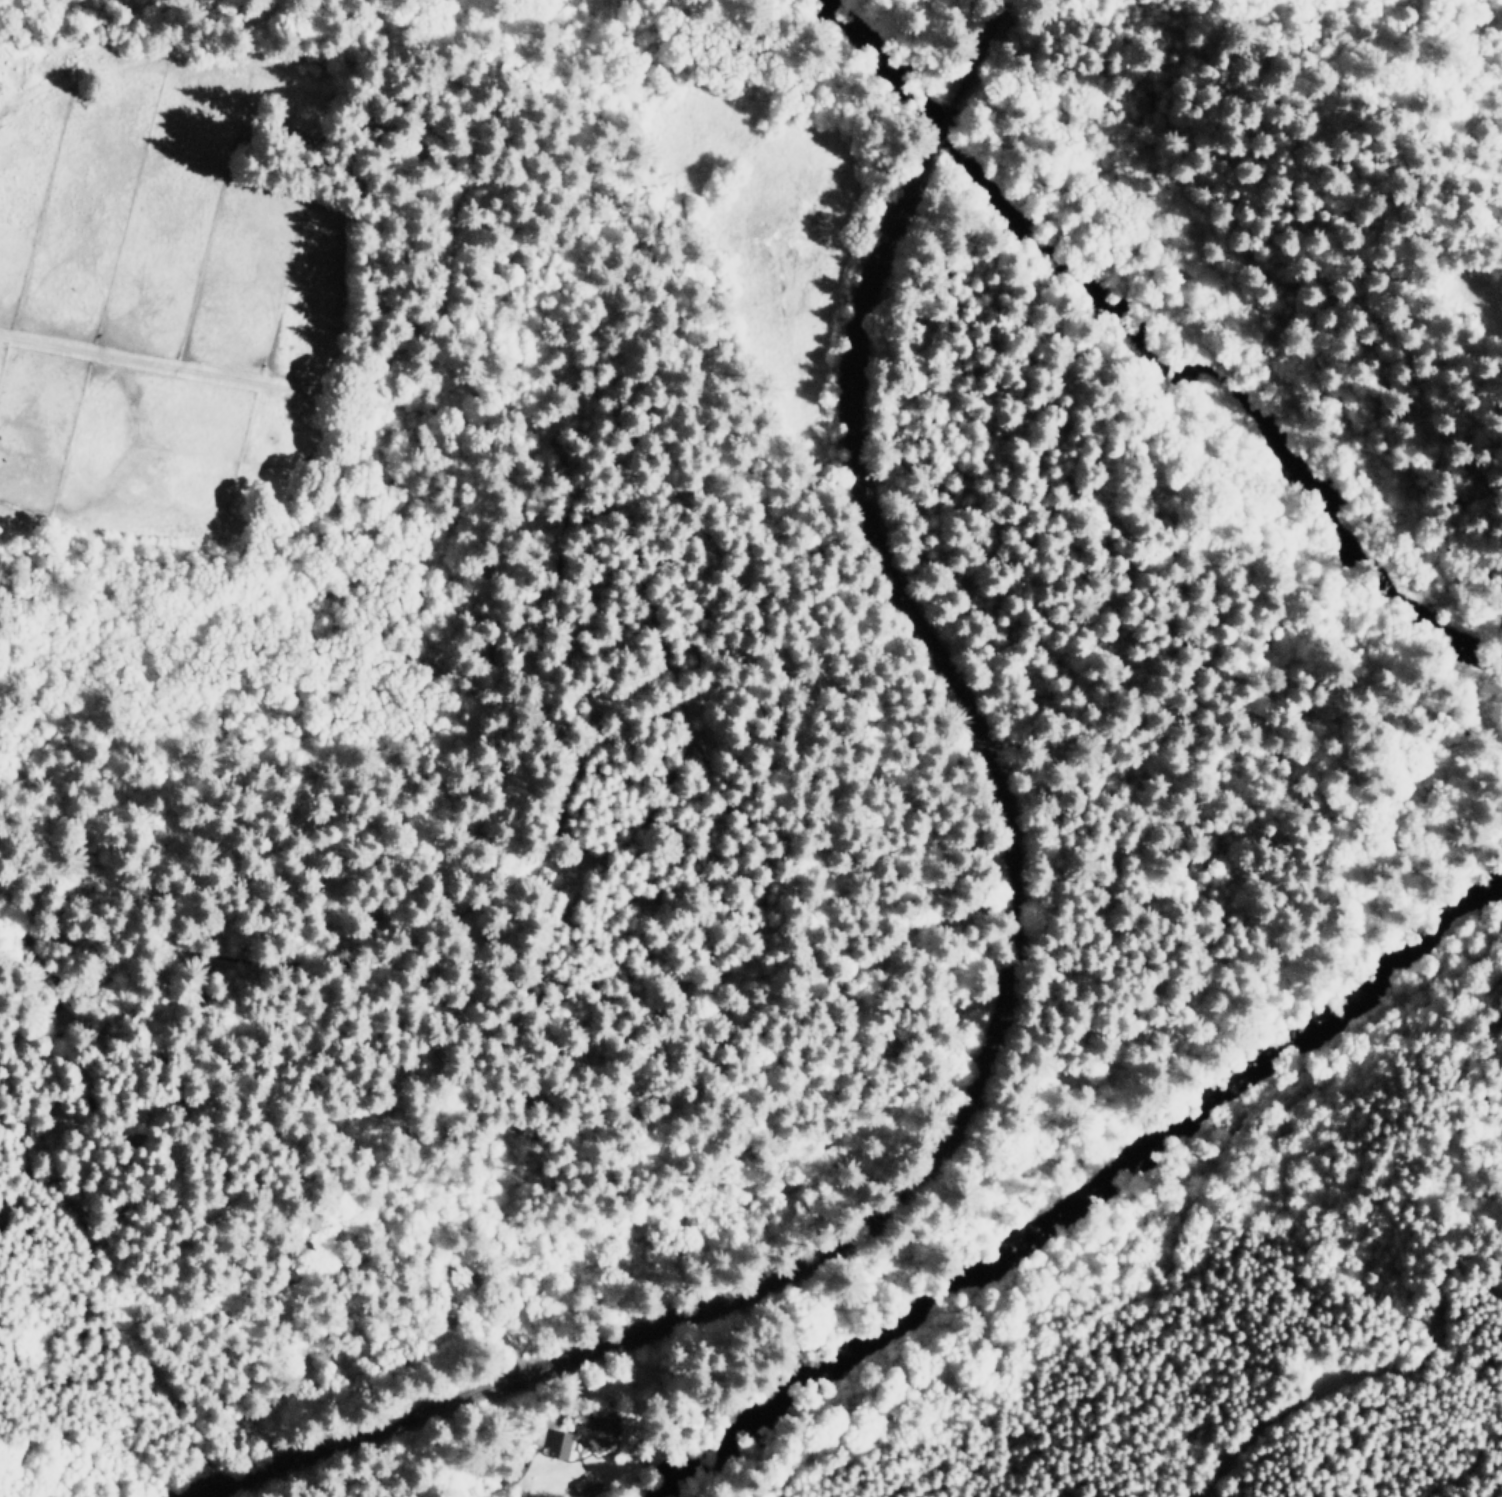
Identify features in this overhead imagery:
railway: (1004, 7)
railway: (982, 47)
river: (1214, 239)
railway: (1002, 999)
river: (1142, 1197)
road: (1449, 1286)
road: (1287, 1382)

